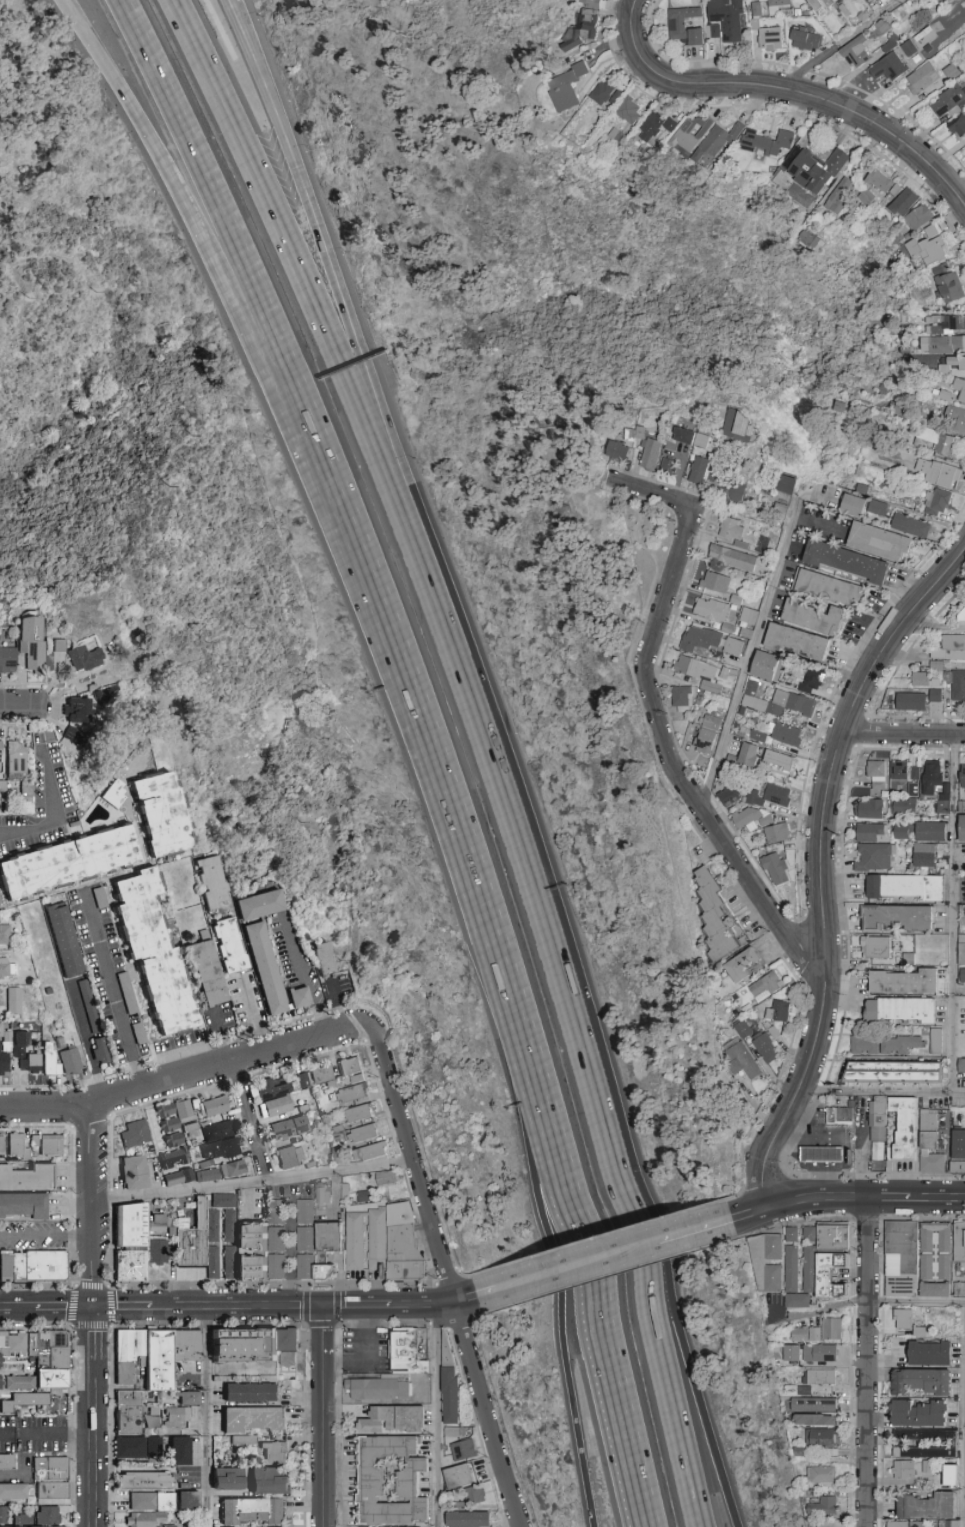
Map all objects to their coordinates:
building: (854, 0)
building: (827, 2)
building: (592, 4)
building: (814, 4)
building: (776, 6)
building: (726, 17)
building: (683, 25)
building: (583, 27)
building: (714, 30)
building: (770, 38)
building: (804, 39)
road: (840, 43)
building: (908, 47)
building: (855, 52)
building: (888, 67)
building: (950, 71)
building: (921, 77)
road: (676, 83)
building: (565, 87)
building: (604, 93)
building: (948, 101)
building: (628, 109)
building: (958, 125)
building: (656, 127)
road: (884, 130)
building: (690, 133)
building: (715, 142)
building: (765, 143)
building: (812, 168)
building: (878, 180)
building: (839, 194)
building: (903, 202)
building: (918, 217)
road: (188, 223)
road: (207, 224)
building: (932, 231)
road: (316, 232)
road: (278, 234)
building: (928, 249)
building: (947, 283)
building: (946, 324)
building: (945, 344)
building: (956, 361)
building: (959, 387)
building: (954, 417)
building: (737, 424)
building: (635, 432)
building: (683, 434)
building: (700, 439)
building: (939, 440)
building: (616, 450)
building: (650, 453)
building: (668, 464)
building: (697, 469)
building: (943, 474)
building: (785, 483)
building: (733, 491)
building: (901, 492)
building: (935, 502)
building: (852, 504)
building: (877, 506)
building: (910, 525)
building: (731, 528)
building: (877, 540)
building: (740, 544)
building: (731, 556)
building: (844, 559)
building: (715, 581)
building: (827, 586)
building: (710, 609)
building: (962, 615)
building: (747, 616)
building: (812, 616)
road: (931, 629)
building: (699, 637)
building: (796, 640)
building: (34, 644)
building: (733, 645)
building: (61, 646)
building: (950, 647)
building: (87, 658)
building: (8, 659)
road: (750, 660)
building: (765, 665)
building: (812, 678)
building: (920, 678)
building: (958, 684)
building: (710, 686)
building: (749, 692)
building: (681, 695)
building: (935, 695)
building: (910, 701)
road: (415, 702)
building: (790, 703)
road: (27, 705)
building: (75, 708)
road: (661, 717)
building: (70, 731)
road: (903, 732)
building: (707, 733)
building: (786, 733)
building: (757, 735)
road: (955, 751)
road: (962, 751)
building: (745, 754)
building: (15, 756)
building: (777, 758)
road: (499, 766)
building: (898, 769)
building: (915, 772)
building: (876, 773)
building: (962, 775)
building: (931, 777)
building: (912, 788)
building: (110, 792)
building: (775, 794)
building: (728, 795)
building: (753, 797)
building: (943, 803)
building: (903, 805)
building: (869, 808)
road: (53, 810)
building: (157, 812)
building: (752, 817)
building: (961, 827)
building: (930, 830)
building: (900, 831)
building: (776, 832)
building: (872, 832)
road: (712, 853)
building: (874, 857)
building: (923, 858)
building: (66, 859)
road: (821, 864)
building: (774, 868)
road: (842, 872)
building: (209, 880)
building: (905, 885)
building: (961, 888)
building: (257, 903)
road: (953, 914)
building: (714, 916)
building: (896, 916)
building: (4, 932)
building: (61, 938)
building: (227, 944)
building: (877, 947)
building: (151, 951)
building: (961, 952)
building: (322, 956)
building: (741, 964)
building: (4, 965)
building: (263, 966)
building: (205, 969)
road: (304, 972)
building: (961, 975)
building: (903, 980)
building: (765, 986)
road: (115, 991)
building: (297, 996)
building: (12, 999)
building: (82, 999)
building: (899, 1008)
building: (777, 1011)
road: (254, 1015)
building: (742, 1028)
building: (139, 1034)
building: (935, 1040)
building: (19, 1043)
building: (897, 1043)
building: (863, 1045)
road: (87, 1046)
building: (764, 1046)
building: (97, 1048)
building: (68, 1058)
building: (48, 1059)
building: (742, 1060)
building: (3, 1061)
building: (29, 1062)
building: (961, 1064)
building: (350, 1067)
building: (892, 1070)
building: (964, 1073)
building: (321, 1075)
road: (195, 1077)
building: (299, 1080)
building: (267, 1087)
road: (821, 1090)
building: (350, 1093)
road: (880, 1093)
building: (275, 1104)
building: (213, 1105)
building: (163, 1109)
building: (183, 1110)
building: (357, 1112)
road: (762, 1112)
building: (840, 1116)
road: (253, 1122)
building: (167, 1124)
building: (903, 1125)
building: (287, 1126)
building: (878, 1127)
building: (217, 1129)
building: (134, 1132)
building: (361, 1133)
building: (172, 1138)
building: (13, 1142)
building: (929, 1142)
building: (1, 1143)
building: (50, 1143)
building: (218, 1147)
building: (957, 1150)
building: (367, 1151)
building: (820, 1153)
building: (290, 1155)
gas station: (822, 1155)
building: (172, 1158)
road: (845, 1158)
building: (231, 1168)
building: (132, 1171)
building: (206, 1174)
building: (177, 1176)
road: (832, 1176)
building: (26, 1177)
building: (385, 1178)
road: (254, 1181)
road: (820, 1183)
road: (768, 1185)
building: (322, 1193)
road: (889, 1198)
building: (223, 1199)
road: (937, 1199)
building: (23, 1204)
road: (94, 1208)
building: (276, 1210)
building: (304, 1210)
building: (246, 1214)
road: (866, 1219)
building: (212, 1224)
building: (158, 1226)
building: (134, 1230)
road: (680, 1234)
building: (790, 1234)
building: (808, 1234)
road: (47, 1235)
building: (328, 1235)
building: (934, 1236)
building: (277, 1238)
building: (304, 1238)
road: (598, 1238)
building: (194, 1239)
building: (377, 1239)
building: (834, 1239)
building: (354, 1240)
building: (959, 1242)
road: (544, 1246)
road: (575, 1246)
building: (405, 1248)
building: (901, 1248)
road: (290, 1255)
building: (160, 1256)
building: (212, 1261)
building: (758, 1261)
building: (276, 1265)
building: (248, 1266)
building: (934, 1266)
building: (311, 1267)
building: (790, 1268)
building: (133, 1269)
building: (39, 1270)
building: (821, 1272)
road: (462, 1275)
road: (609, 1276)
road: (448, 1278)
road: (452, 1282)
building: (959, 1286)
building: (934, 1289)
road: (672, 1296)
road: (652, 1297)
building: (796, 1300)
road: (915, 1301)
road: (296, 1307)
traffic signals: (326, 1307)
road: (46, 1308)
traffic signals: (94, 1308)
road: (820, 1310)
road: (850, 1315)
building: (902, 1318)
road: (475, 1321)
road: (321, 1325)
road: (104, 1326)
road: (461, 1327)
road: (437, 1328)
building: (831, 1328)
road: (326, 1331)
road: (881, 1331)
road: (94, 1334)
building: (805, 1334)
building: (290, 1341)
building: (246, 1345)
building: (13, 1346)
parking lot: (366, 1351)
building: (790, 1352)
building: (819, 1352)
building: (448, 1353)
building: (928, 1353)
building: (408, 1354)
building: (156, 1355)
road: (369, 1356)
building: (290, 1360)
road: (866, 1362)
building: (47, 1368)
building: (821, 1376)
road: (337, 1378)
building: (920, 1381)
building: (1, 1383)
building: (22, 1383)
building: (380, 1389)
building: (803, 1390)
building: (253, 1393)
building: (451, 1396)
building: (190, 1398)
building: (812, 1404)
building: (131, 1412)
building: (155, 1412)
building: (918, 1413)
road: (963, 1414)
road: (438, 1415)
road: (208, 1417)
building: (255, 1419)
building: (814, 1419)
building: (177, 1420)
building: (396, 1420)
road: (476, 1426)
road: (47, 1432)
building: (454, 1432)
building: (822, 1437)
building: (246, 1441)
road: (326, 1441)
road: (95, 1443)
building: (932, 1445)
building: (155, 1447)
building: (132, 1448)
building: (182, 1451)
building: (465, 1451)
building: (277, 1453)
building: (8, 1462)
building: (926, 1466)
building: (903, 1468)
building: (53, 1469)
building: (820, 1475)
building: (950, 1475)
building: (460, 1477)
building: (230, 1480)
building: (146, 1481)
building: (273, 1482)
building: (374, 1484)
building: (15, 1491)
building: (54, 1491)
building: (476, 1496)
building: (190, 1501)
building: (154, 1502)
building: (822, 1506)
building: (926, 1506)
building: (461, 1507)
building: (255, 1512)
building: (4, 1516)
building: (50, 1517)
building: (147, 1520)
building: (471, 1520)
building: (25, 1521)
building: (947, 1523)
building: (905, 1524)
building: (171, 1526)

